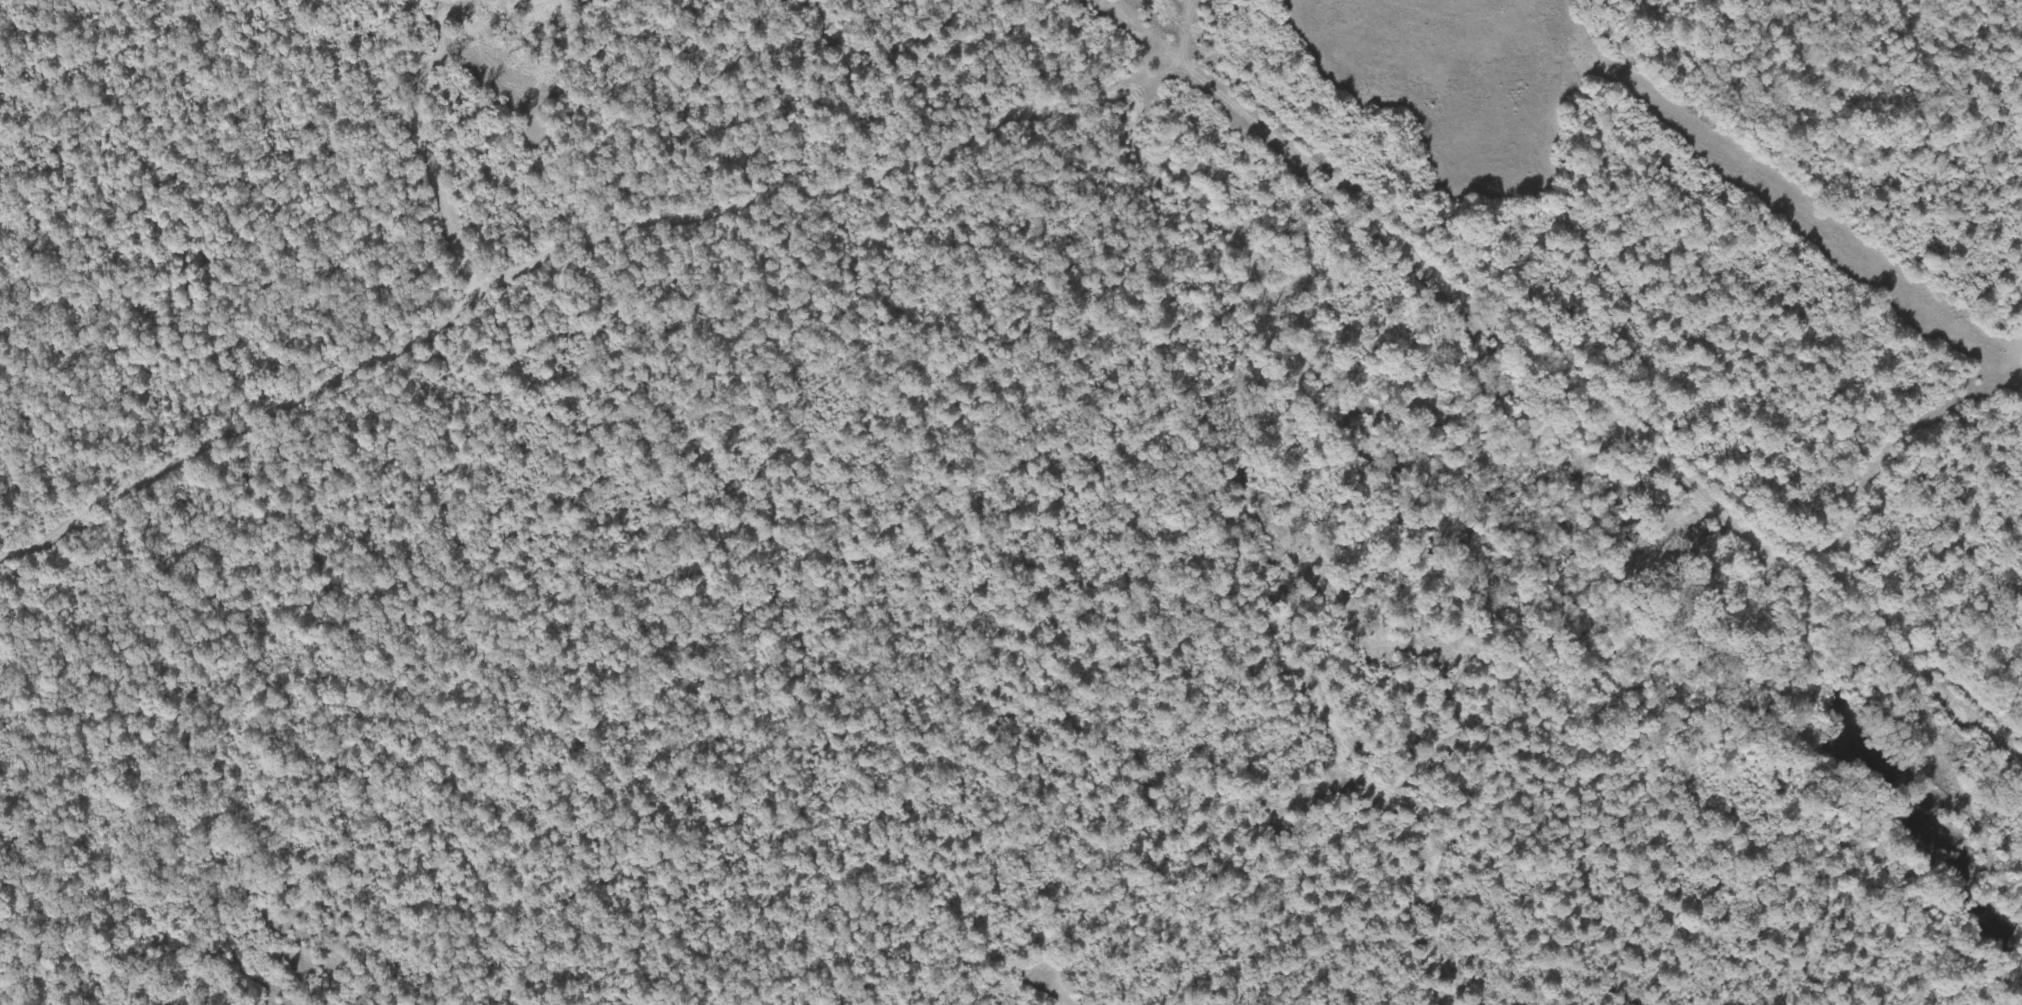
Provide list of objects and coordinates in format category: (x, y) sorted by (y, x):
road: (1821, 563)

